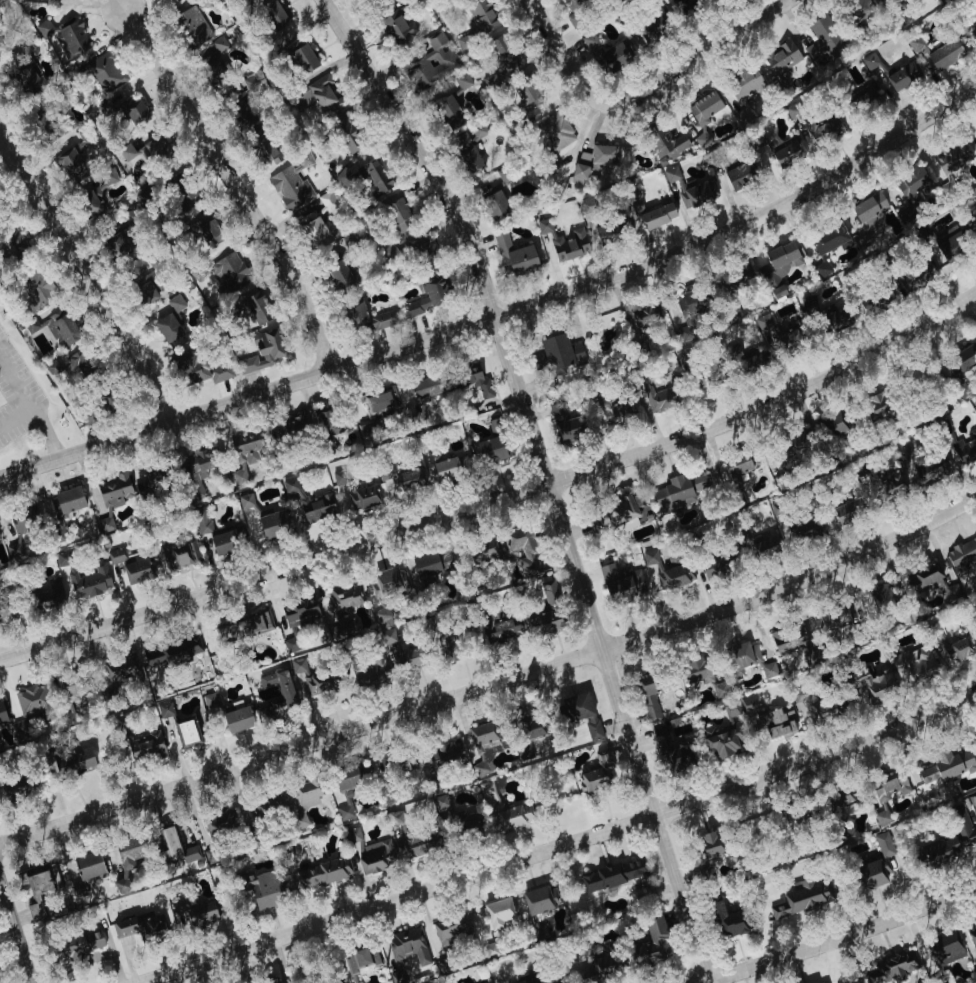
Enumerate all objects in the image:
building: (168, 1)
building: (571, 1)
building: (892, 1)
building: (60, 3)
building: (683, 3)
building: (858, 4)
building: (275, 13)
building: (482, 15)
building: (652, 26)
building: (193, 27)
building: (395, 27)
building: (973, 28)
building: (823, 29)
building: (67, 36)
building: (589, 40)
building: (465, 43)
building: (917, 44)
road: (560, 48)
building: (502, 53)
building: (944, 55)
building: (214, 57)
building: (782, 57)
building: (611, 58)
building: (302, 59)
road: (690, 59)
building: (433, 60)
building: (870, 61)
building: (104, 73)
building: (902, 75)
building: (24, 76)
building: (461, 81)
building: (489, 81)
building: (747, 83)
building: (320, 93)
building: (860, 97)
building: (524, 98)
building: (134, 112)
building: (447, 112)
building: (240, 117)
building: (701, 117)
building: (554, 132)
building: (824, 132)
building: (973, 134)
building: (347, 135)
building: (460, 138)
building: (756, 140)
building: (666, 144)
building: (259, 145)
building: (151, 148)
building: (127, 152)
building: (784, 155)
building: (473, 158)
building: (948, 159)
building: (592, 161)
building: (69, 166)
building: (671, 174)
building: (739, 175)
building: (365, 178)
building: (291, 183)
road: (235, 184)
building: (698, 192)
building: (912, 192)
building: (95, 194)
building: (494, 205)
building: (587, 205)
building: (647, 212)
building: (398, 214)
building: (867, 217)
building: (206, 231)
building: (317, 231)
building: (612, 231)
building: (12, 240)
building: (830, 240)
building: (561, 242)
building: (949, 244)
building: (115, 245)
building: (422, 251)
building: (513, 255)
building: (780, 260)
building: (337, 274)
building: (230, 275)
road: (88, 276)
building: (905, 279)
building: (733, 281)
building: (144, 291)
building: (32, 293)
building: (429, 296)
building: (874, 302)
building: (176, 303)
building: (812, 308)
building: (252, 311)
building: (690, 312)
building: (356, 313)
road: (502, 313)
building: (386, 319)
building: (54, 328)
building: (167, 328)
building: (769, 329)
building: (264, 352)
building: (557, 354)
building: (962, 359)
building: (81, 363)
building: (52, 368)
building: (477, 383)
building: (425, 387)
building: (650, 393)
park: (1, 399)
building: (381, 402)
building: (877, 404)
road: (31, 405)
building: (974, 406)
building: (91, 410)
building: (358, 410)
building: (617, 411)
road: (15, 415)
building: (564, 421)
building: (832, 422)
building: (311, 424)
building: (793, 442)
building: (247, 447)
building: (965, 448)
building: (923, 464)
building: (735, 465)
building: (199, 466)
building: (444, 466)
road: (547, 477)
building: (148, 479)
building: (404, 479)
building: (888, 484)
building: (290, 486)
building: (677, 492)
building: (110, 499)
building: (244, 499)
road: (496, 499)
building: (67, 500)
building: (317, 508)
building: (847, 509)
building: (620, 510)
building: (24, 519)
building: (272, 523)
building: (217, 535)
building: (763, 545)
building: (483, 549)
building: (522, 551)
building: (177, 556)
building: (961, 556)
building: (62, 558)
building: (432, 563)
building: (129, 565)
building: (715, 565)
building: (666, 569)
building: (926, 579)
building: (90, 581)
building: (620, 581)
building: (388, 583)
building: (880, 593)
building: (952, 593)
building: (345, 596)
building: (47, 598)
building: (851, 607)
building: (300, 613)
building: (382, 614)
building: (832, 618)
building: (543, 623)
building: (500, 626)
building: (243, 630)
building: (792, 642)
building: (290, 645)
building: (950, 645)
building: (440, 646)
building: (399, 650)
building: (173, 652)
building: (741, 654)
building: (914, 665)
building: (120, 668)
building: (694, 668)
building: (768, 670)
building: (369, 672)
building: (306, 678)
road: (493, 683)
building: (278, 684)
building: (71, 688)
building: (719, 689)
building: (872, 689)
building: (649, 694)
building: (210, 700)
building: (33, 702)
building: (747, 705)
building: (811, 706)
building: (2, 714)
building: (263, 714)
building: (582, 716)
building: (236, 719)
building: (775, 722)
building: (185, 733)
building: (526, 736)
building: (724, 738)
building: (144, 744)
building: (482, 747)
building: (673, 752)
building: (439, 756)
building: (76, 762)
building: (947, 766)
building: (404, 767)
building: (595, 774)
building: (15, 787)
building: (348, 787)
building: (887, 793)
building: (305, 798)
building: (839, 799)
building: (262, 806)
building: (514, 815)
building: (798, 817)
building: (395, 818)
building: (459, 818)
building: (220, 820)
building: (420, 840)
road: (562, 844)
building: (949, 844)
building: (167, 845)
building: (705, 850)
building: (371, 852)
building: (188, 856)
building: (126, 860)
building: (876, 862)
building: (321, 872)
building: (86, 874)
building: (610, 875)
building: (38, 879)
building: (262, 890)
building: (801, 898)
building: (540, 899)
building: (35, 911)
building: (497, 912)
building: (193, 914)
building: (727, 920)
building: (141, 926)
road: (17, 929)
building: (448, 931)
building: (971, 933)
road: (838, 935)
building: (80, 943)
building: (651, 943)
building: (944, 946)
building: (491, 950)
building: (406, 951)
building: (357, 963)
building: (892, 969)
building: (528, 980)
building: (268, 981)
building: (819, 981)

